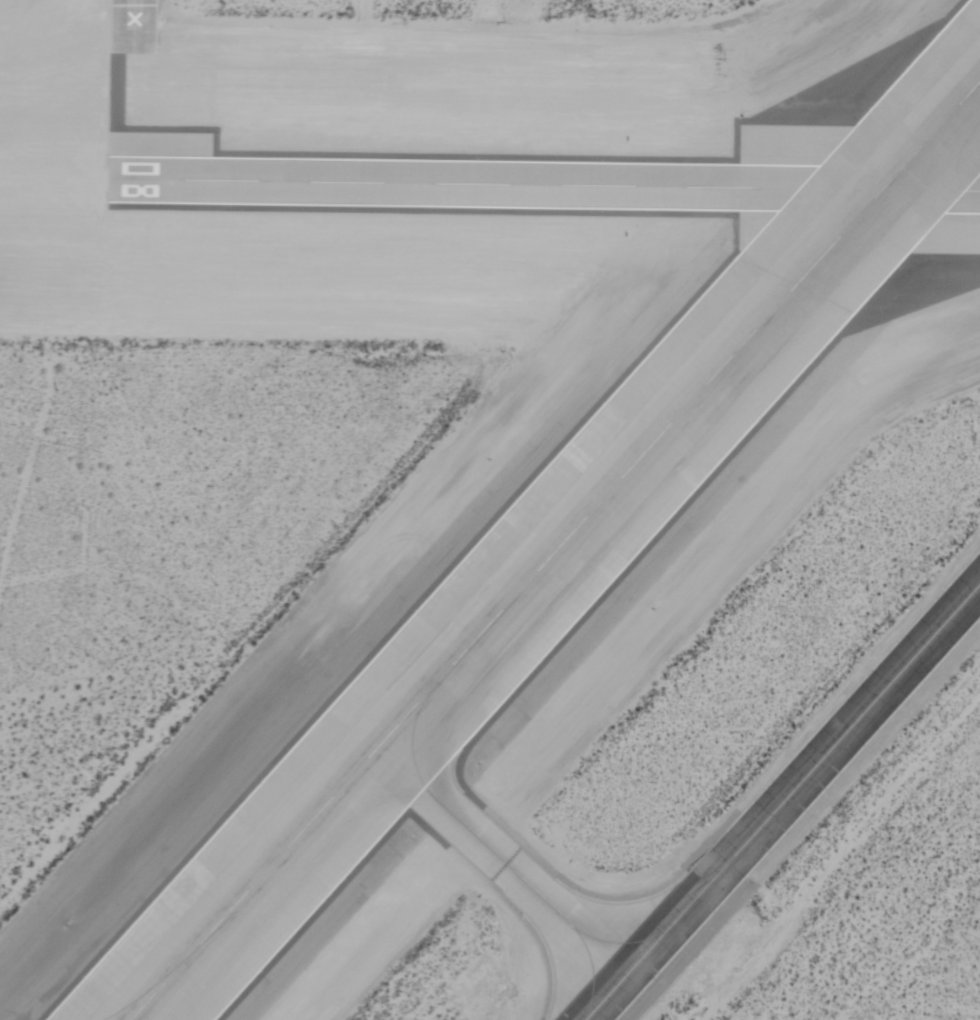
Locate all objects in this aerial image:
airport taxiway: (130, 90)
airport runway: (554, 186)
airport: (490, 510)
airport runway: (554, 549)
airport taxiway: (782, 802)
airport taxiway: (526, 885)

